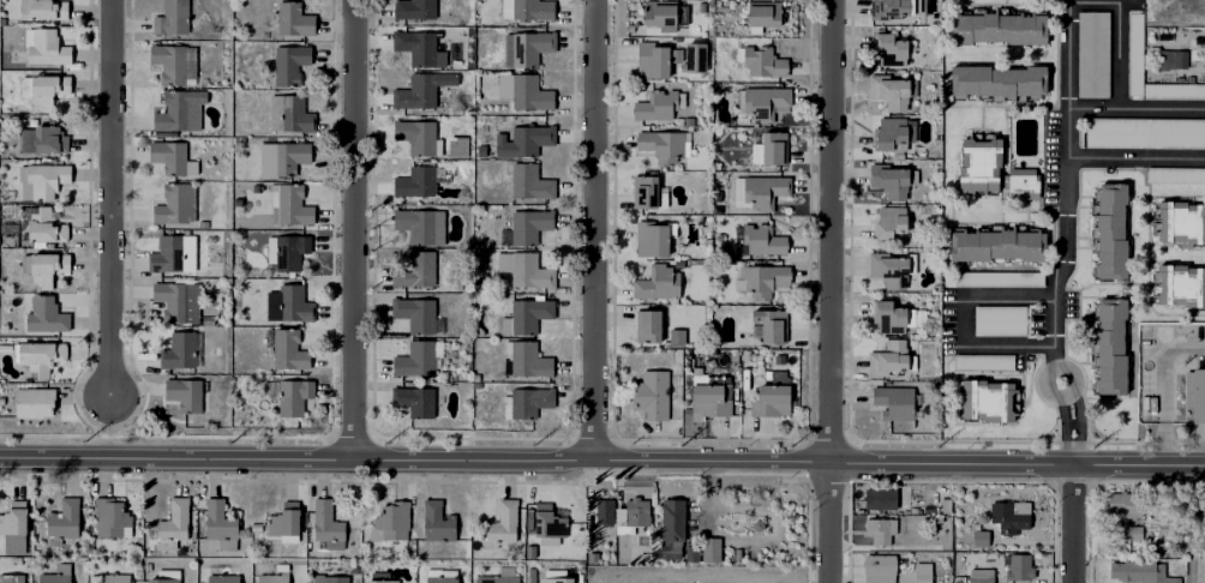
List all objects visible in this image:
building: (892, 8)
building: (415, 10)
building: (527, 10)
building: (42, 11)
building: (665, 12)
building: (763, 14)
building: (172, 18)
building: (294, 20)
building: (999, 29)
building: (419, 47)
building: (528, 47)
building: (892, 49)
building: (47, 52)
building: (693, 53)
building: (1093, 53)
building: (1135, 53)
building: (653, 59)
building: (1174, 59)
building: (763, 61)
building: (169, 62)
building: (290, 65)
road: (1116, 74)
building: (999, 80)
building: (48, 90)
building: (422, 90)
building: (1174, 90)
building: (524, 91)
building: (895, 92)
building: (762, 103)
building: (658, 106)
building: (178, 108)
road: (1091, 109)
building: (289, 114)
building: (1145, 132)
building: (889, 133)
building: (416, 136)
building: (49, 139)
building: (524, 140)
building: (663, 145)
building: (458, 146)
building: (771, 150)
building: (169, 156)
building: (289, 156)
road: (1135, 157)
building: (981, 164)
building: (1175, 173)
building: (419, 180)
building: (892, 180)
building: (42, 181)
building: (530, 182)
road: (1066, 182)
building: (1020, 184)
building: (760, 192)
building: (646, 193)
road: (110, 202)
building: (176, 204)
building: (293, 206)
building: (889, 223)
building: (1181, 223)
building: (416, 226)
building: (527, 227)
building: (42, 228)
road: (355, 228)
road: (594, 230)
building: (1113, 232)
building: (654, 239)
building: (762, 240)
building: (999, 246)
building: (288, 252)
building: (173, 254)
building: (43, 268)
building: (420, 270)
building: (889, 270)
building: (528, 271)
building: (763, 278)
building: (999, 278)
building: (658, 283)
building: (1182, 287)
road: (831, 291)
building: (175, 300)
building: (289, 305)
building: (415, 313)
building: (46, 315)
building: (527, 317)
building: (891, 317)
building: (1000, 320)
road: (959, 321)
building: (648, 325)
building: (771, 326)
building: (675, 336)
building: (1113, 347)
building: (286, 348)
building: (179, 351)
building: (38, 359)
building: (889, 359)
building: (415, 360)
building: (528, 361)
building: (984, 361)
building: (778, 377)
road: (1041, 380)
road: (1159, 385)
building: (652, 395)
building: (1195, 395)
building: (185, 396)
building: (290, 396)
building: (414, 401)
building: (772, 401)
building: (989, 401)
building: (711, 402)
building: (894, 402)
building: (527, 403)
building: (36, 404)
road: (1061, 405)
road: (1078, 428)
road: (1063, 439)
road: (602, 461)
building: (881, 499)
building: (1127, 505)
building: (945, 506)
building: (1037, 510)
building: (635, 511)
building: (602, 512)
building: (109, 517)
building: (619, 517)
building: (1012, 517)
building: (14, 519)
building: (65, 519)
building: (221, 521)
building: (284, 521)
building: (174, 523)
building: (391, 523)
building: (438, 523)
building: (504, 523)
road: (1069, 523)
road: (1189, 524)
building: (328, 525)
building: (550, 527)
building: (670, 528)
building: (881, 530)
building: (609, 531)
building: (1134, 533)
building: (979, 539)
building: (907, 541)
building: (709, 551)
building: (693, 554)
building: (736, 555)
building: (645, 558)
building: (1020, 569)
building: (894, 571)
building: (1201, 571)
building: (1141, 572)
building: (56, 575)
building: (500, 576)
road: (771, 576)
building: (979, 576)
building: (162, 577)
building: (222, 577)
building: (380, 577)
building: (438, 577)
building: (12, 578)
building: (114, 578)
building: (274, 578)
building: (330, 579)
building: (557, 581)

